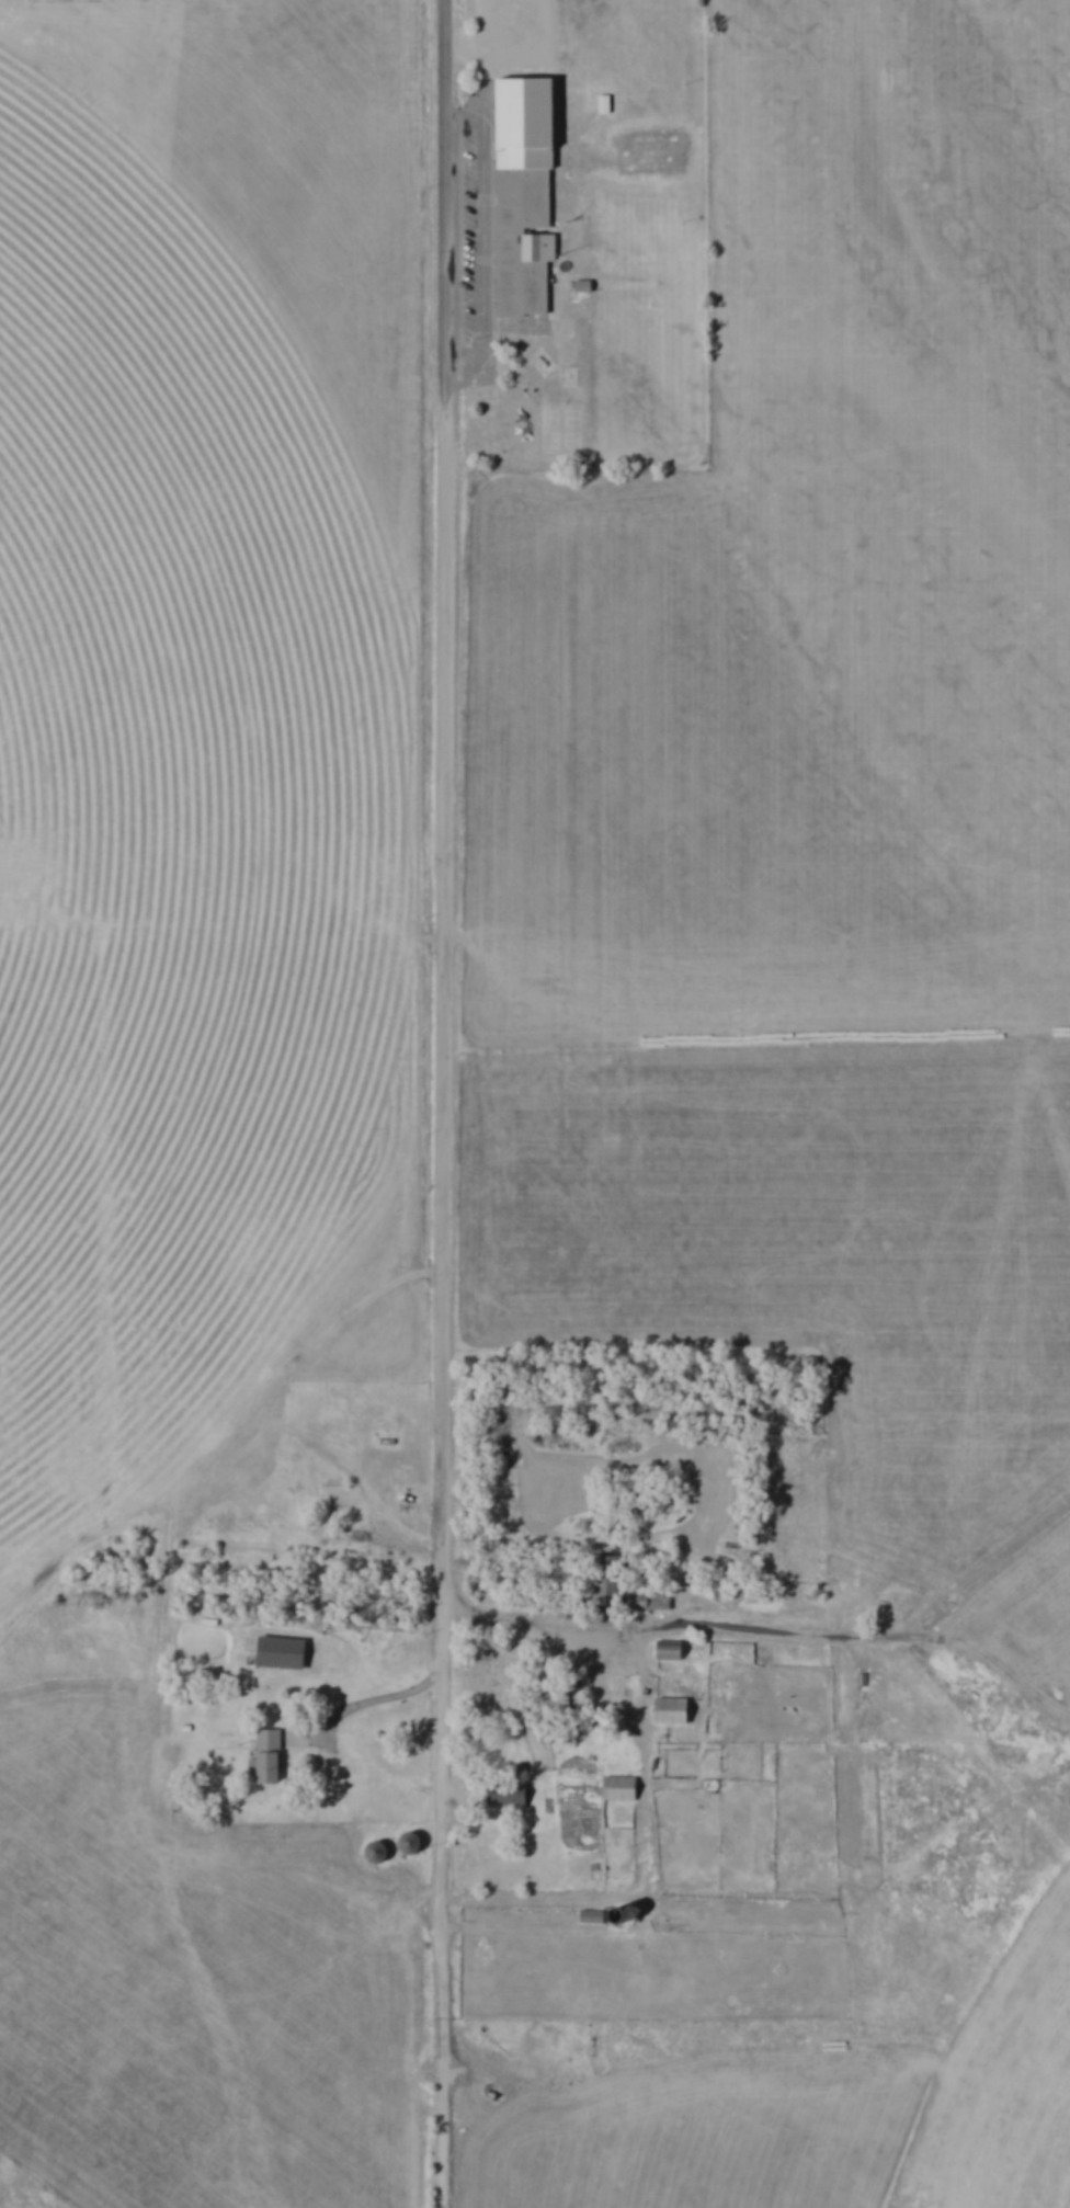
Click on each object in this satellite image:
building: (528, 123)
road: (446, 197)
road: (488, 248)
crop: (184, 835)
road: (443, 1215)
building: (611, 1581)
road: (714, 1631)
building: (282, 1650)
building: (672, 1651)
road: (362, 1703)
building: (557, 1706)
building: (674, 1708)
building: (271, 1759)
building: (622, 1785)
building: (510, 1796)
building: (416, 1845)
building: (382, 1855)
road: (647, 1866)
building: (595, 1919)
building: (537, 2041)

